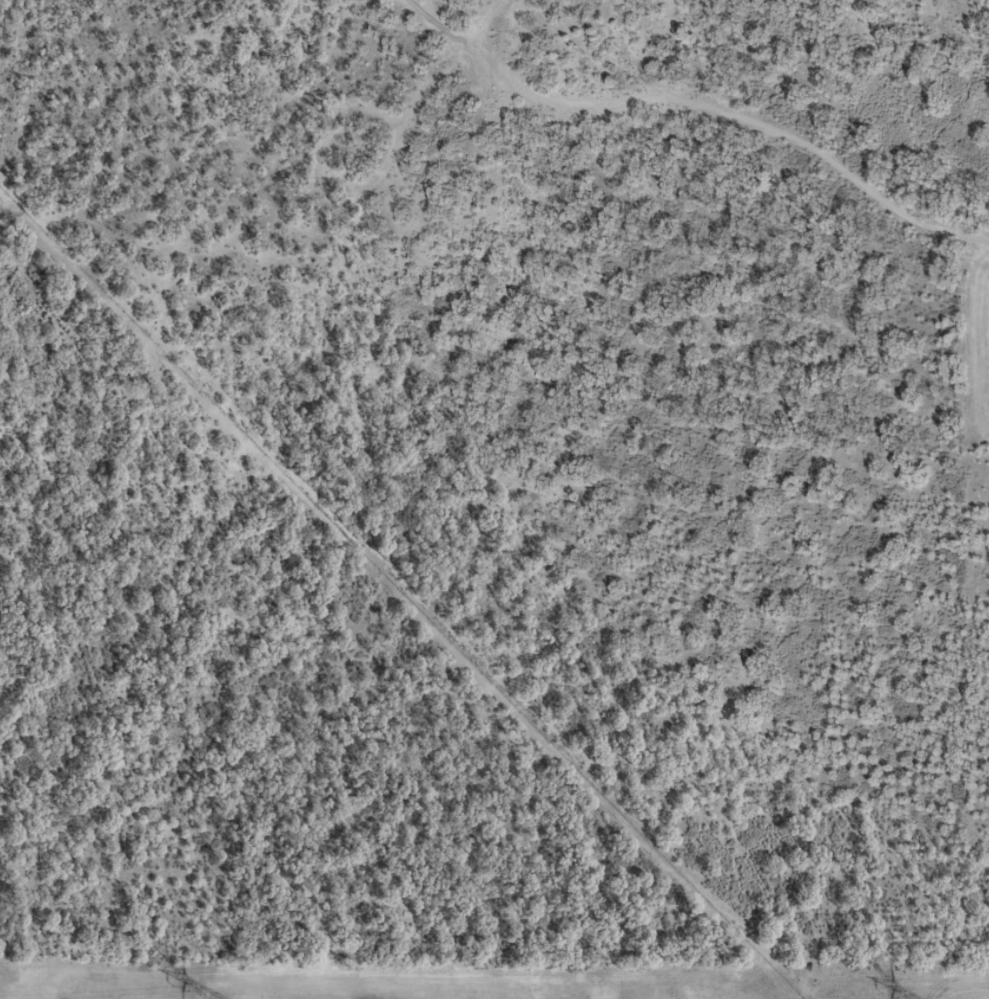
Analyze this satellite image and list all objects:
road: (694, 175)

